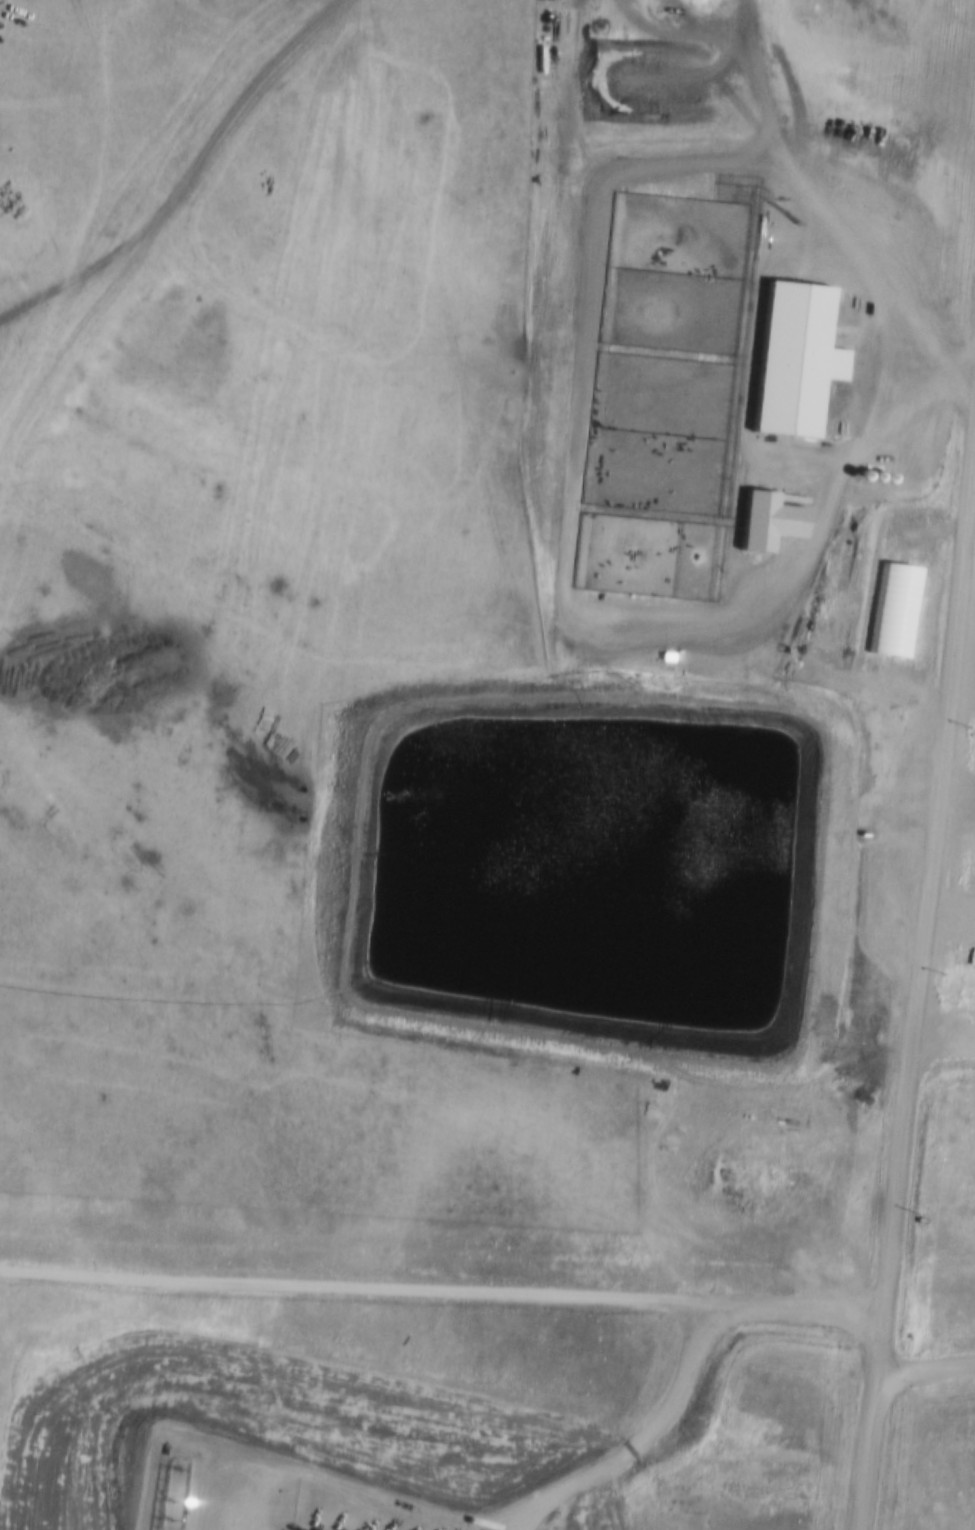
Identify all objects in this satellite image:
building: (892, 607)
building: (887, 724)
building: (974, 961)
road: (920, 977)
road: (445, 1275)
road: (929, 1355)

